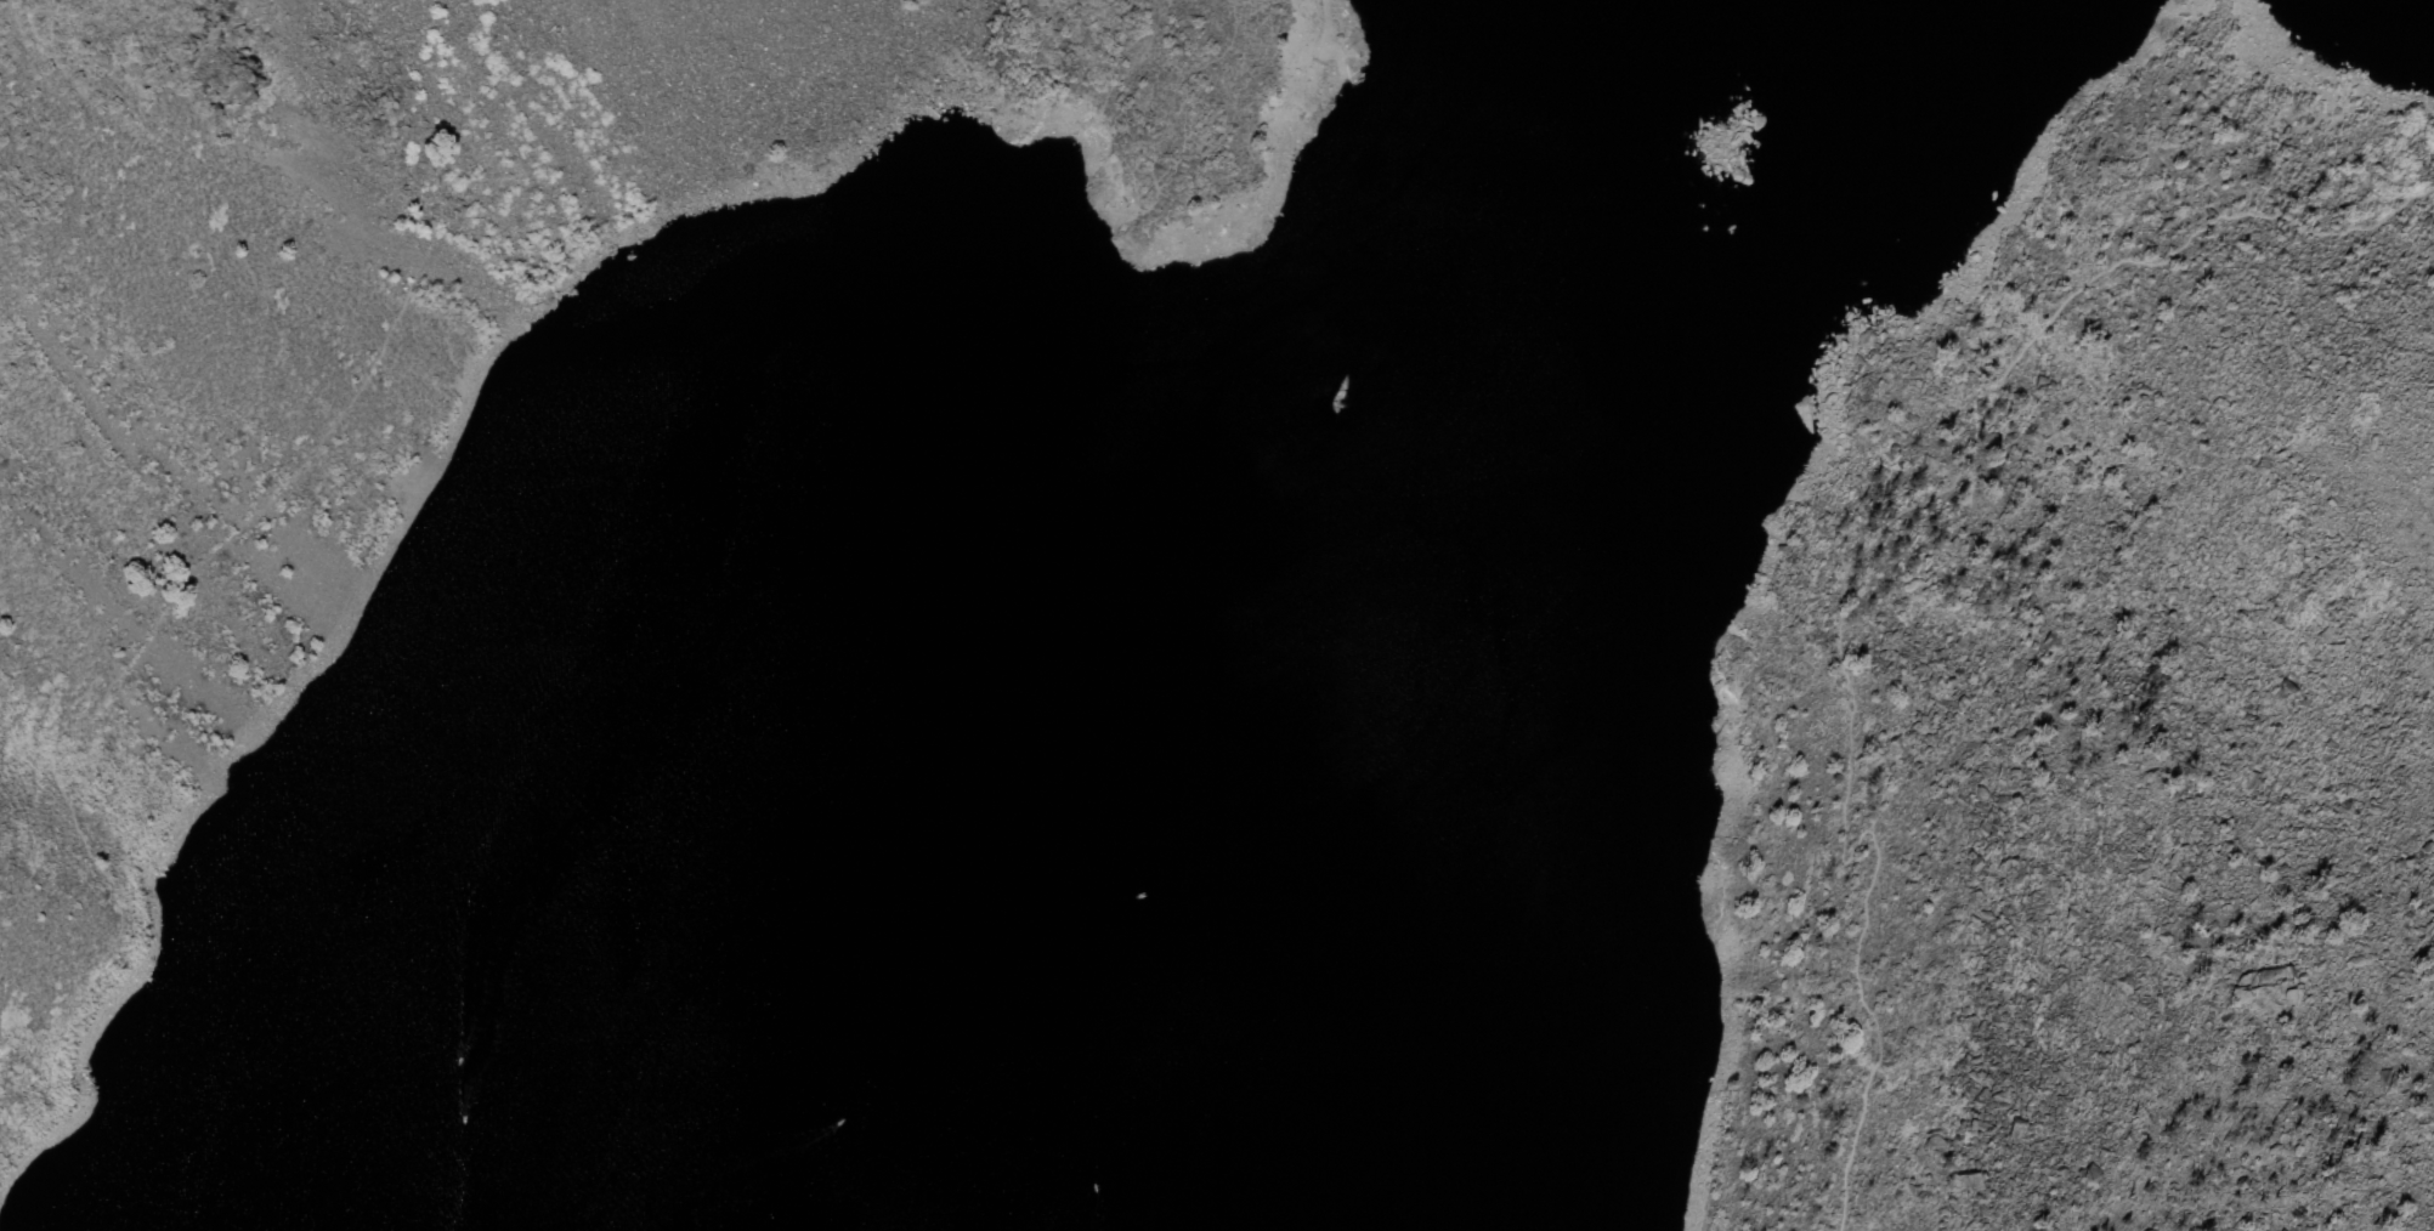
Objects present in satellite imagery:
road: (372, 356)
road: (1855, 568)

